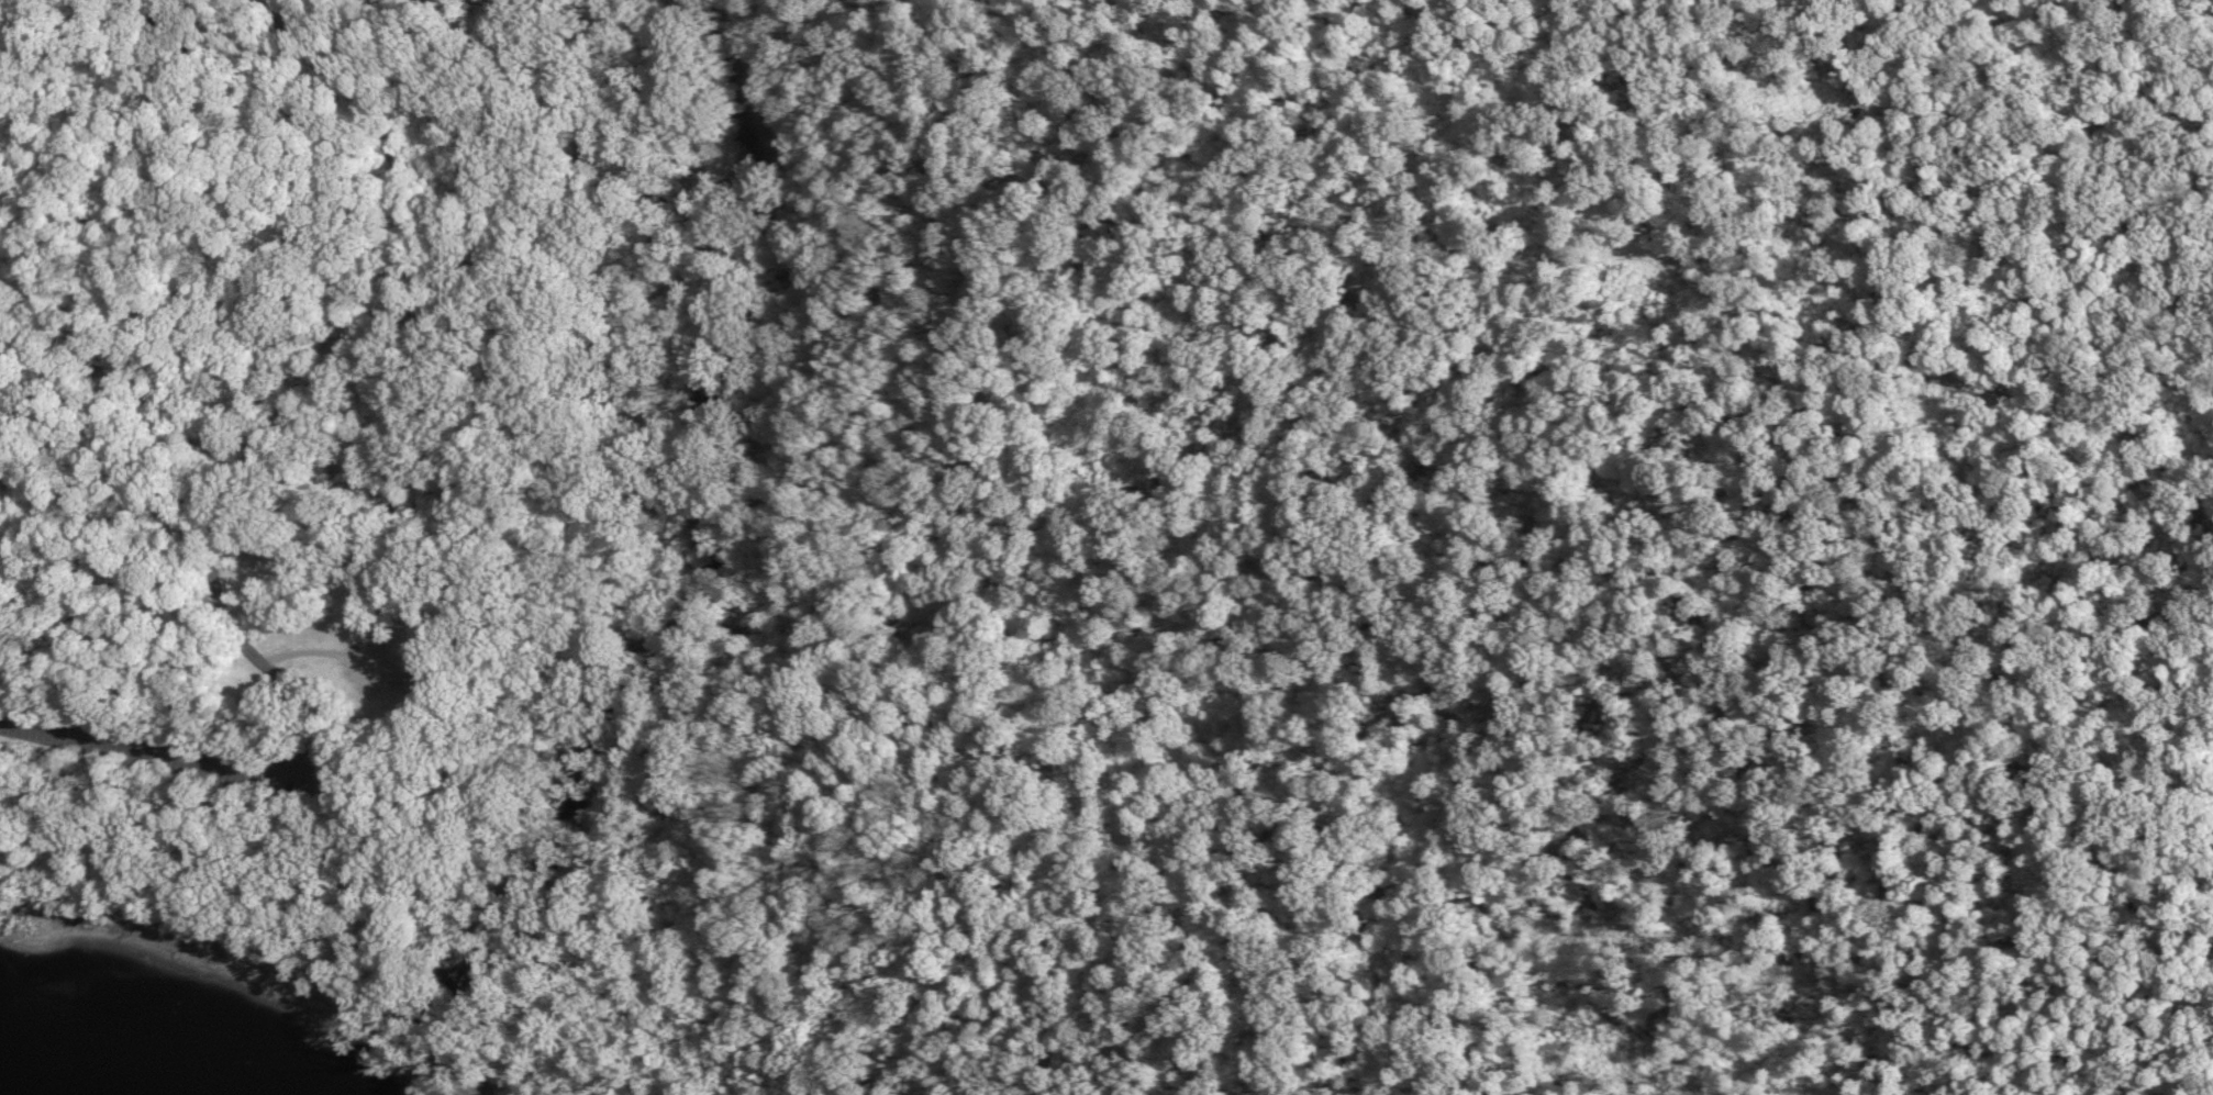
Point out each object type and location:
road: (2034, 27)
road: (247, 109)
road: (1190, 155)
road: (1520, 309)
road: (825, 435)
road: (277, 443)
road: (242, 477)
park: (351, 487)
road: (331, 655)
road: (159, 756)

